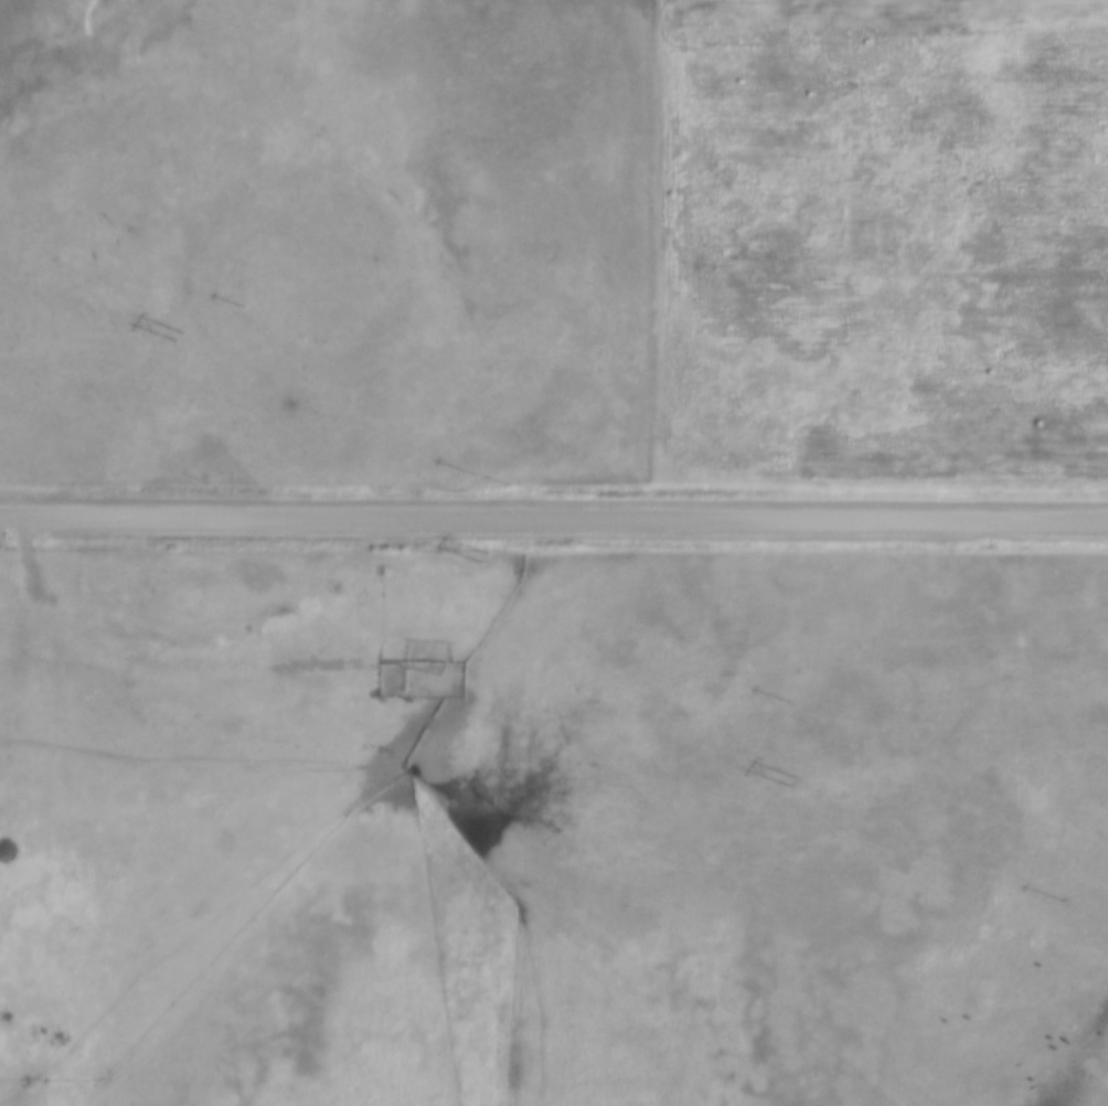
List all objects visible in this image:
road: (554, 514)
road: (17, 638)

